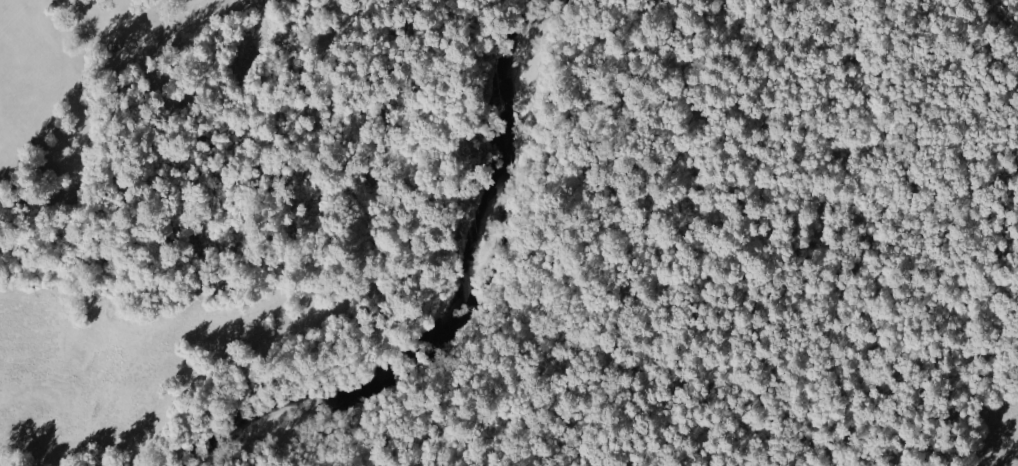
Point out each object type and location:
road: (561, 259)
river: (458, 296)

